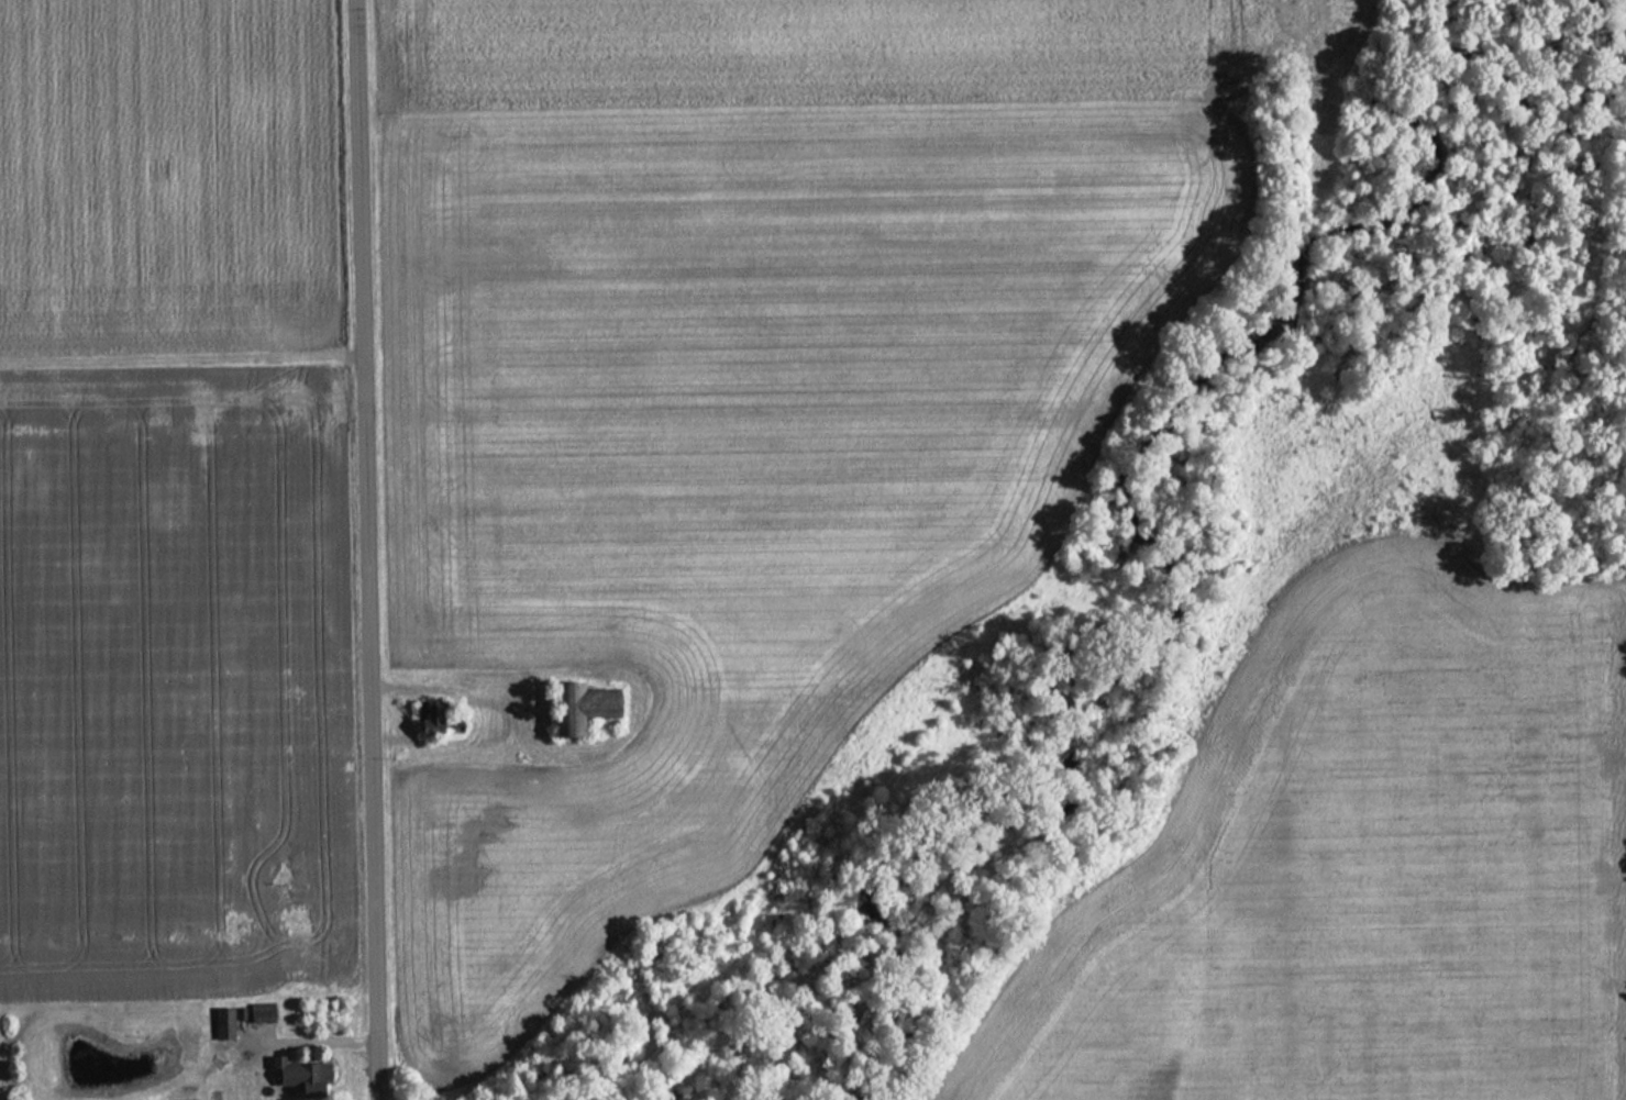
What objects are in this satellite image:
crop: (165, 186)
crop: (751, 400)
road: (366, 549)
crop: (168, 684)
building: (587, 707)
crop: (1359, 875)
building: (226, 1022)

